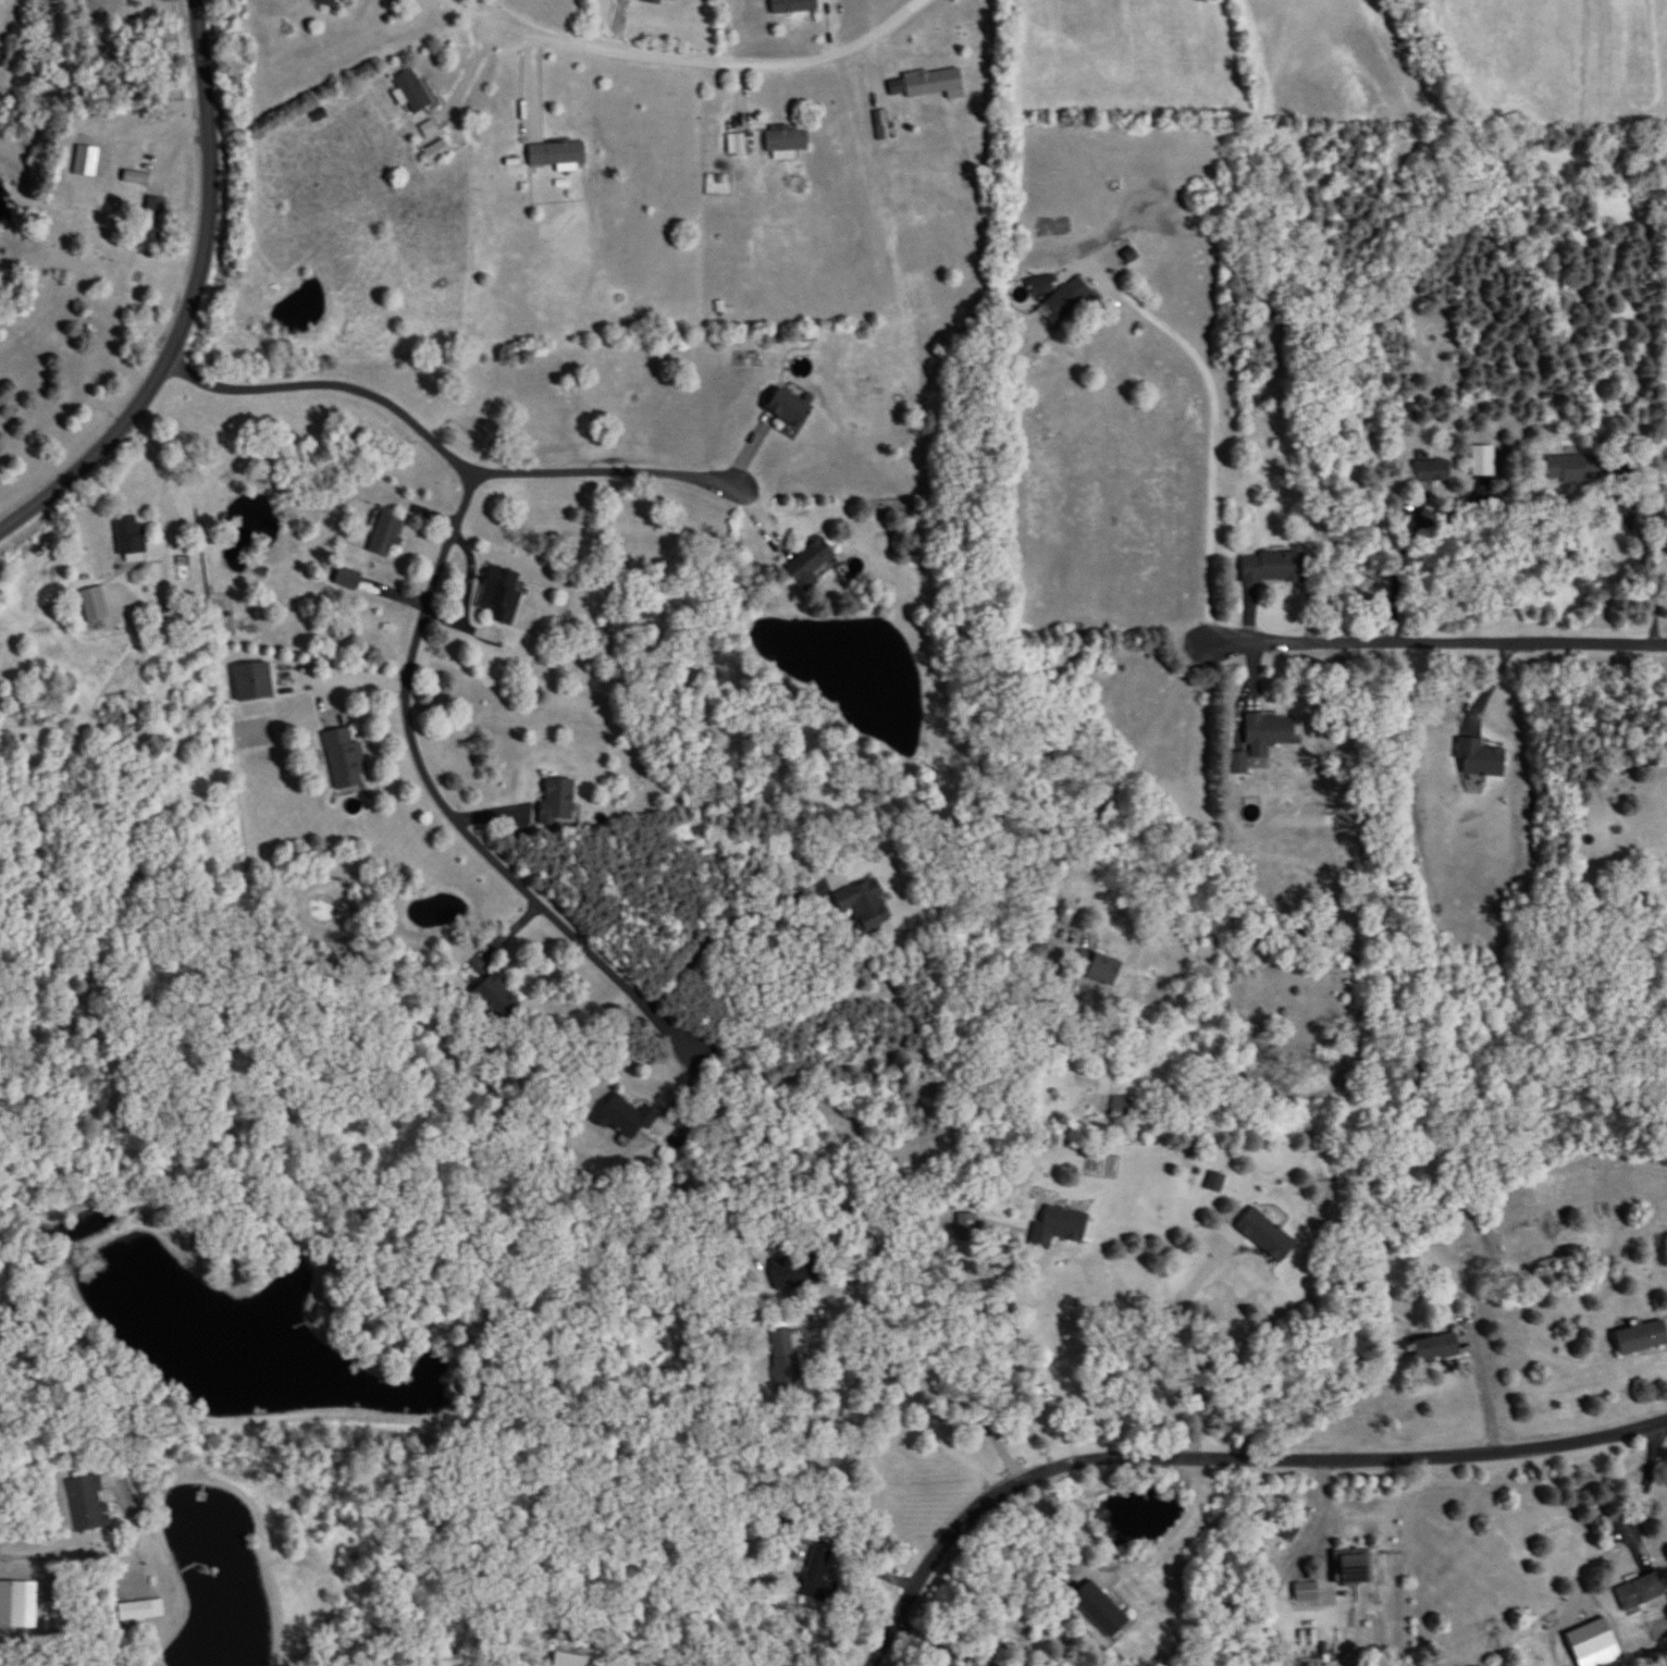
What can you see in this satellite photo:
building: (669, 0)
building: (653, 2)
building: (329, 3)
building: (793, 7)
road: (494, 12)
road: (473, 14)
road: (720, 64)
road: (466, 78)
building: (933, 83)
building: (410, 90)
building: (787, 141)
building: (737, 144)
building: (436, 151)
building: (556, 153)
building: (86, 161)
road: (160, 170)
building: (136, 177)
building: (153, 218)
building: (1060, 296)
road: (189, 301)
road: (331, 383)
building: (787, 409)
building: (1483, 461)
building: (1573, 468)
building: (1433, 471)
road: (606, 472)
road: (161, 495)
building: (385, 535)
building: (129, 539)
road: (1651, 561)
building: (808, 563)
road: (1401, 565)
building: (1272, 568)
building: (347, 579)
building: (498, 593)
road: (1210, 593)
building: (94, 605)
road: (1438, 644)
road: (345, 680)
building: (250, 681)
building: (1267, 731)
building: (256, 732)
building: (343, 757)
building: (1480, 757)
road: (440, 797)
building: (555, 802)
building: (864, 904)
road: (731, 915)
building: (1101, 968)
building: (496, 998)
building: (1123, 1106)
building: (626, 1115)
building: (1059, 1225)
building: (1264, 1233)
road: (1250, 1248)
building: (1641, 1337)
building: (1434, 1347)
building: (786, 1359)
road: (1483, 1385)
road: (923, 1430)
road: (1222, 1458)
road: (1638, 1492)
building: (87, 1504)
road: (1084, 1557)
road: (67, 1558)
building: (1354, 1566)
building: (818, 1578)
building: (1640, 1591)
road: (1328, 1594)
building: (12, 1597)
building: (1099, 1609)
building: (139, 1611)
building: (1591, 1639)
road: (941, 1641)

